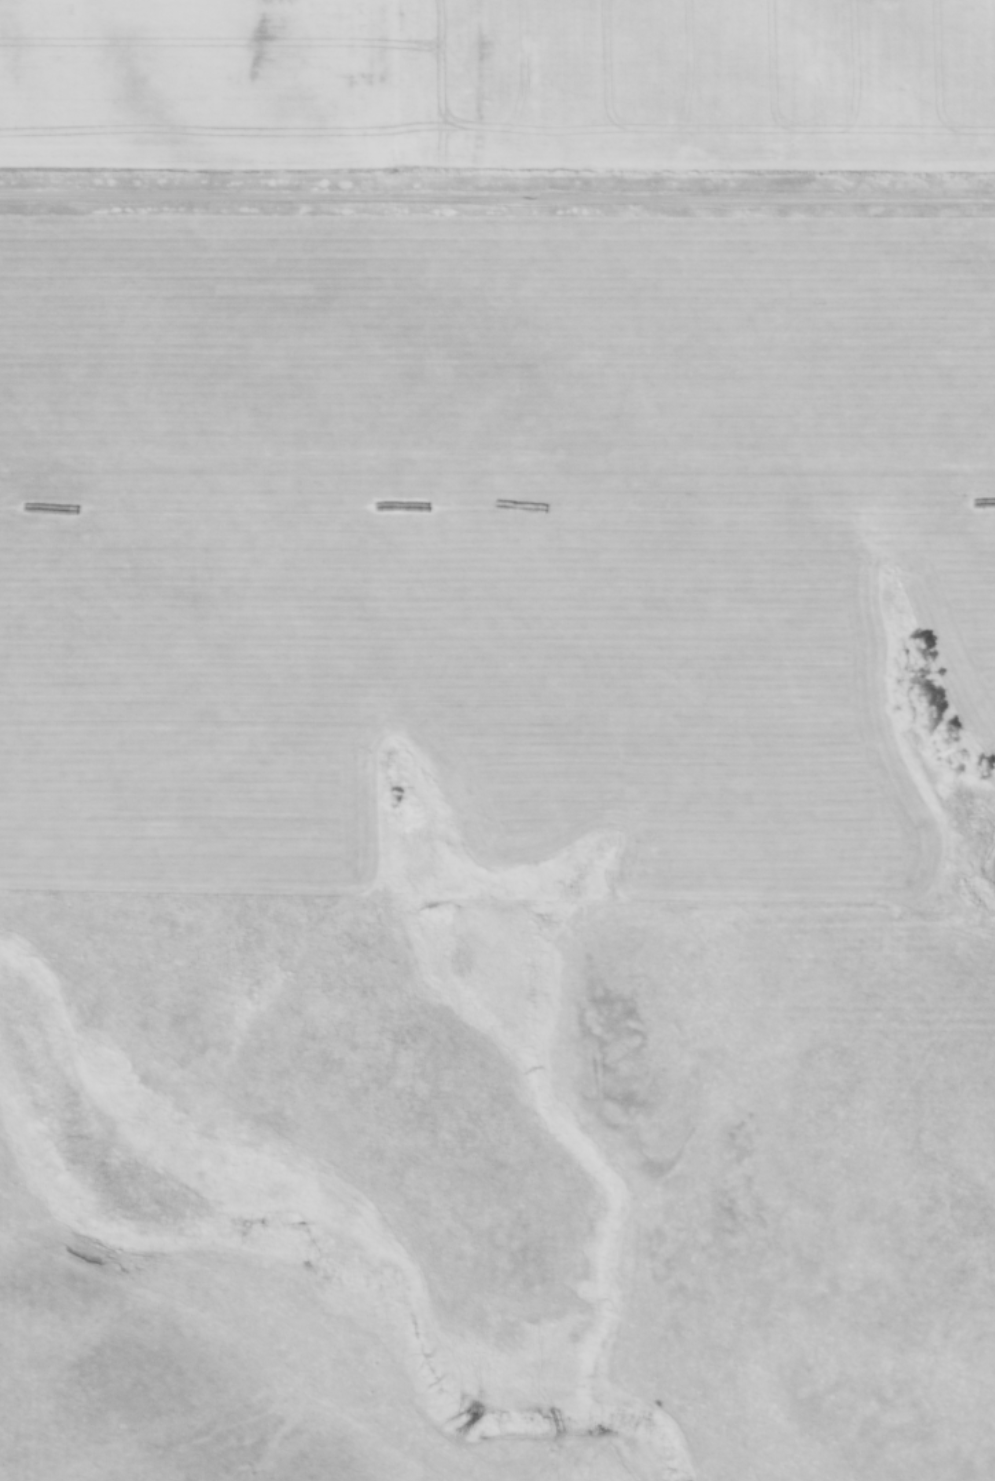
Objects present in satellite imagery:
road: (497, 199)

